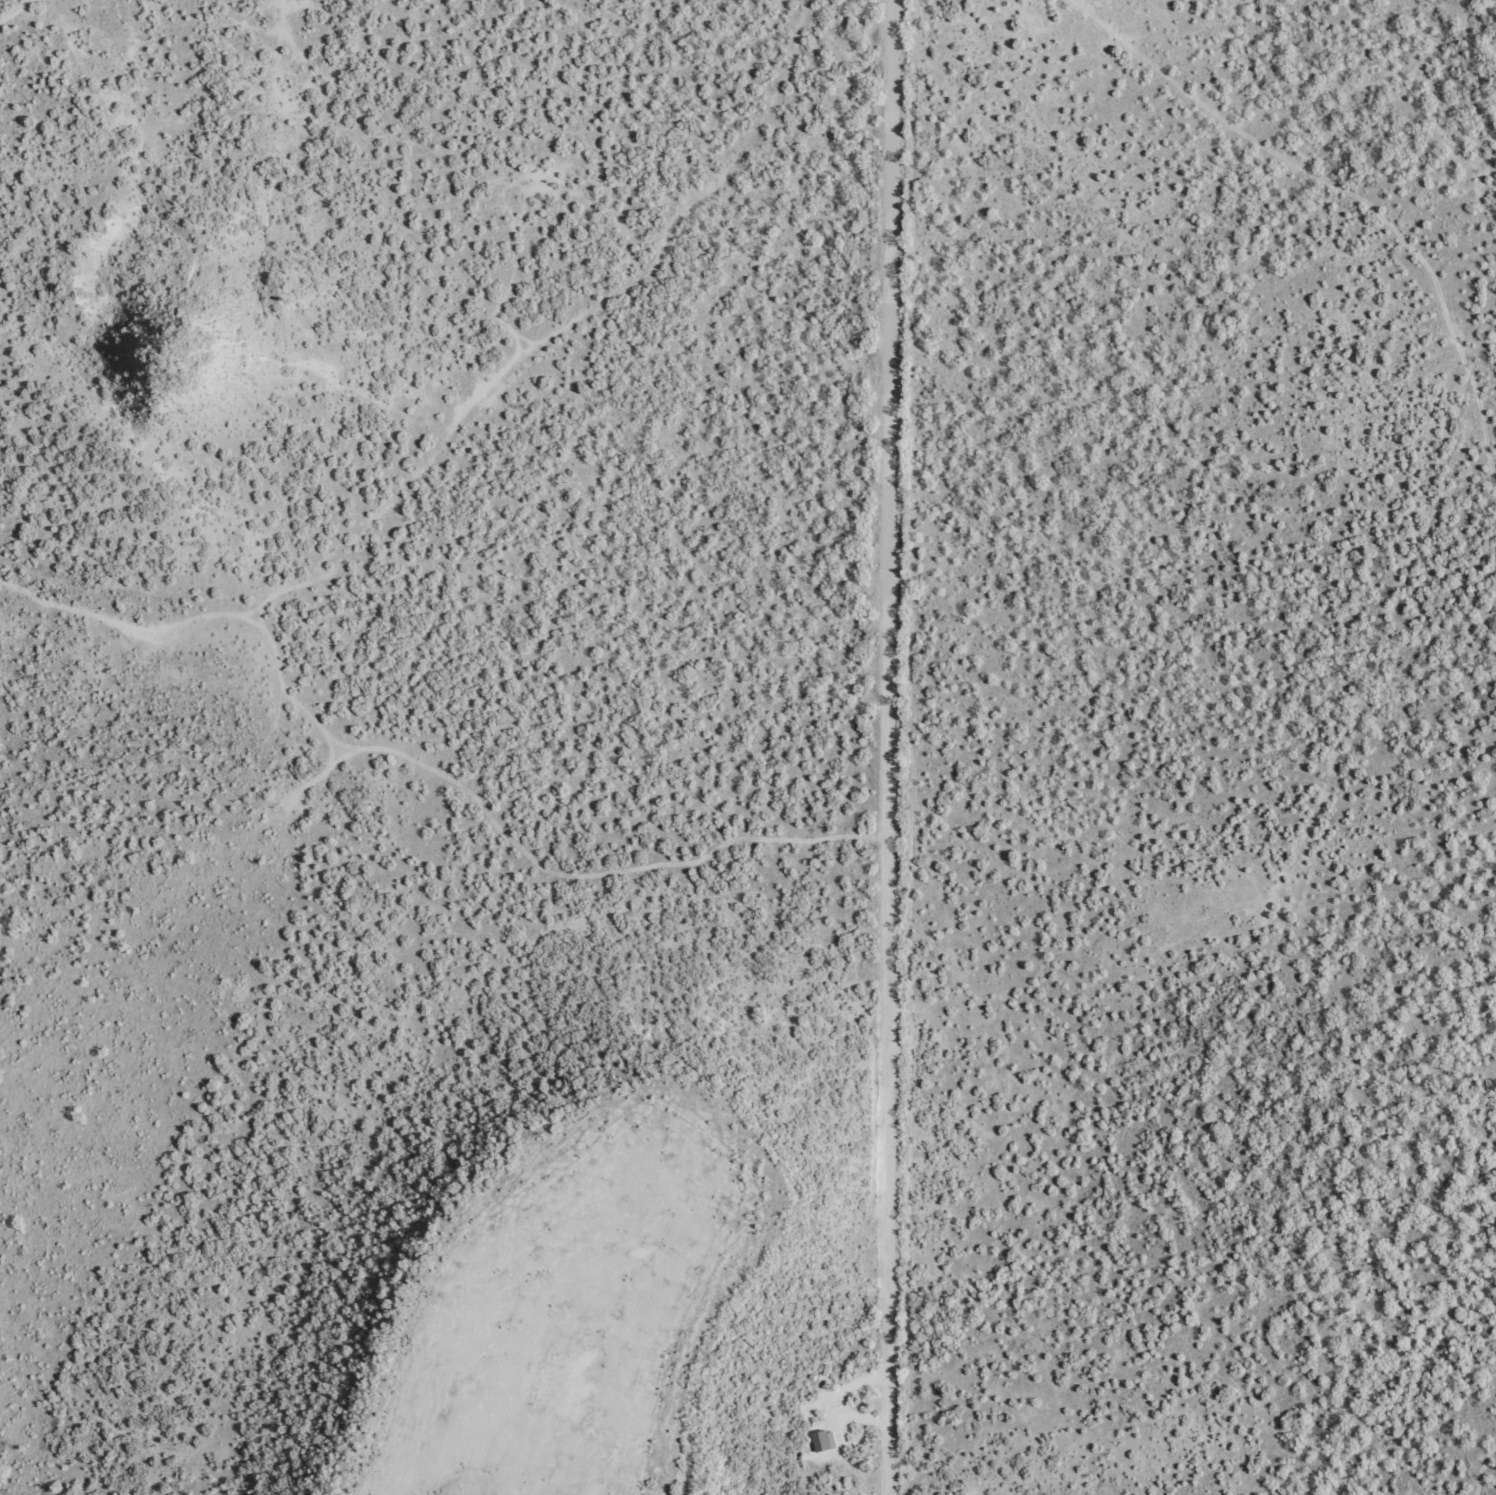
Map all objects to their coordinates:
road: (883, 747)
building: (823, 1441)

